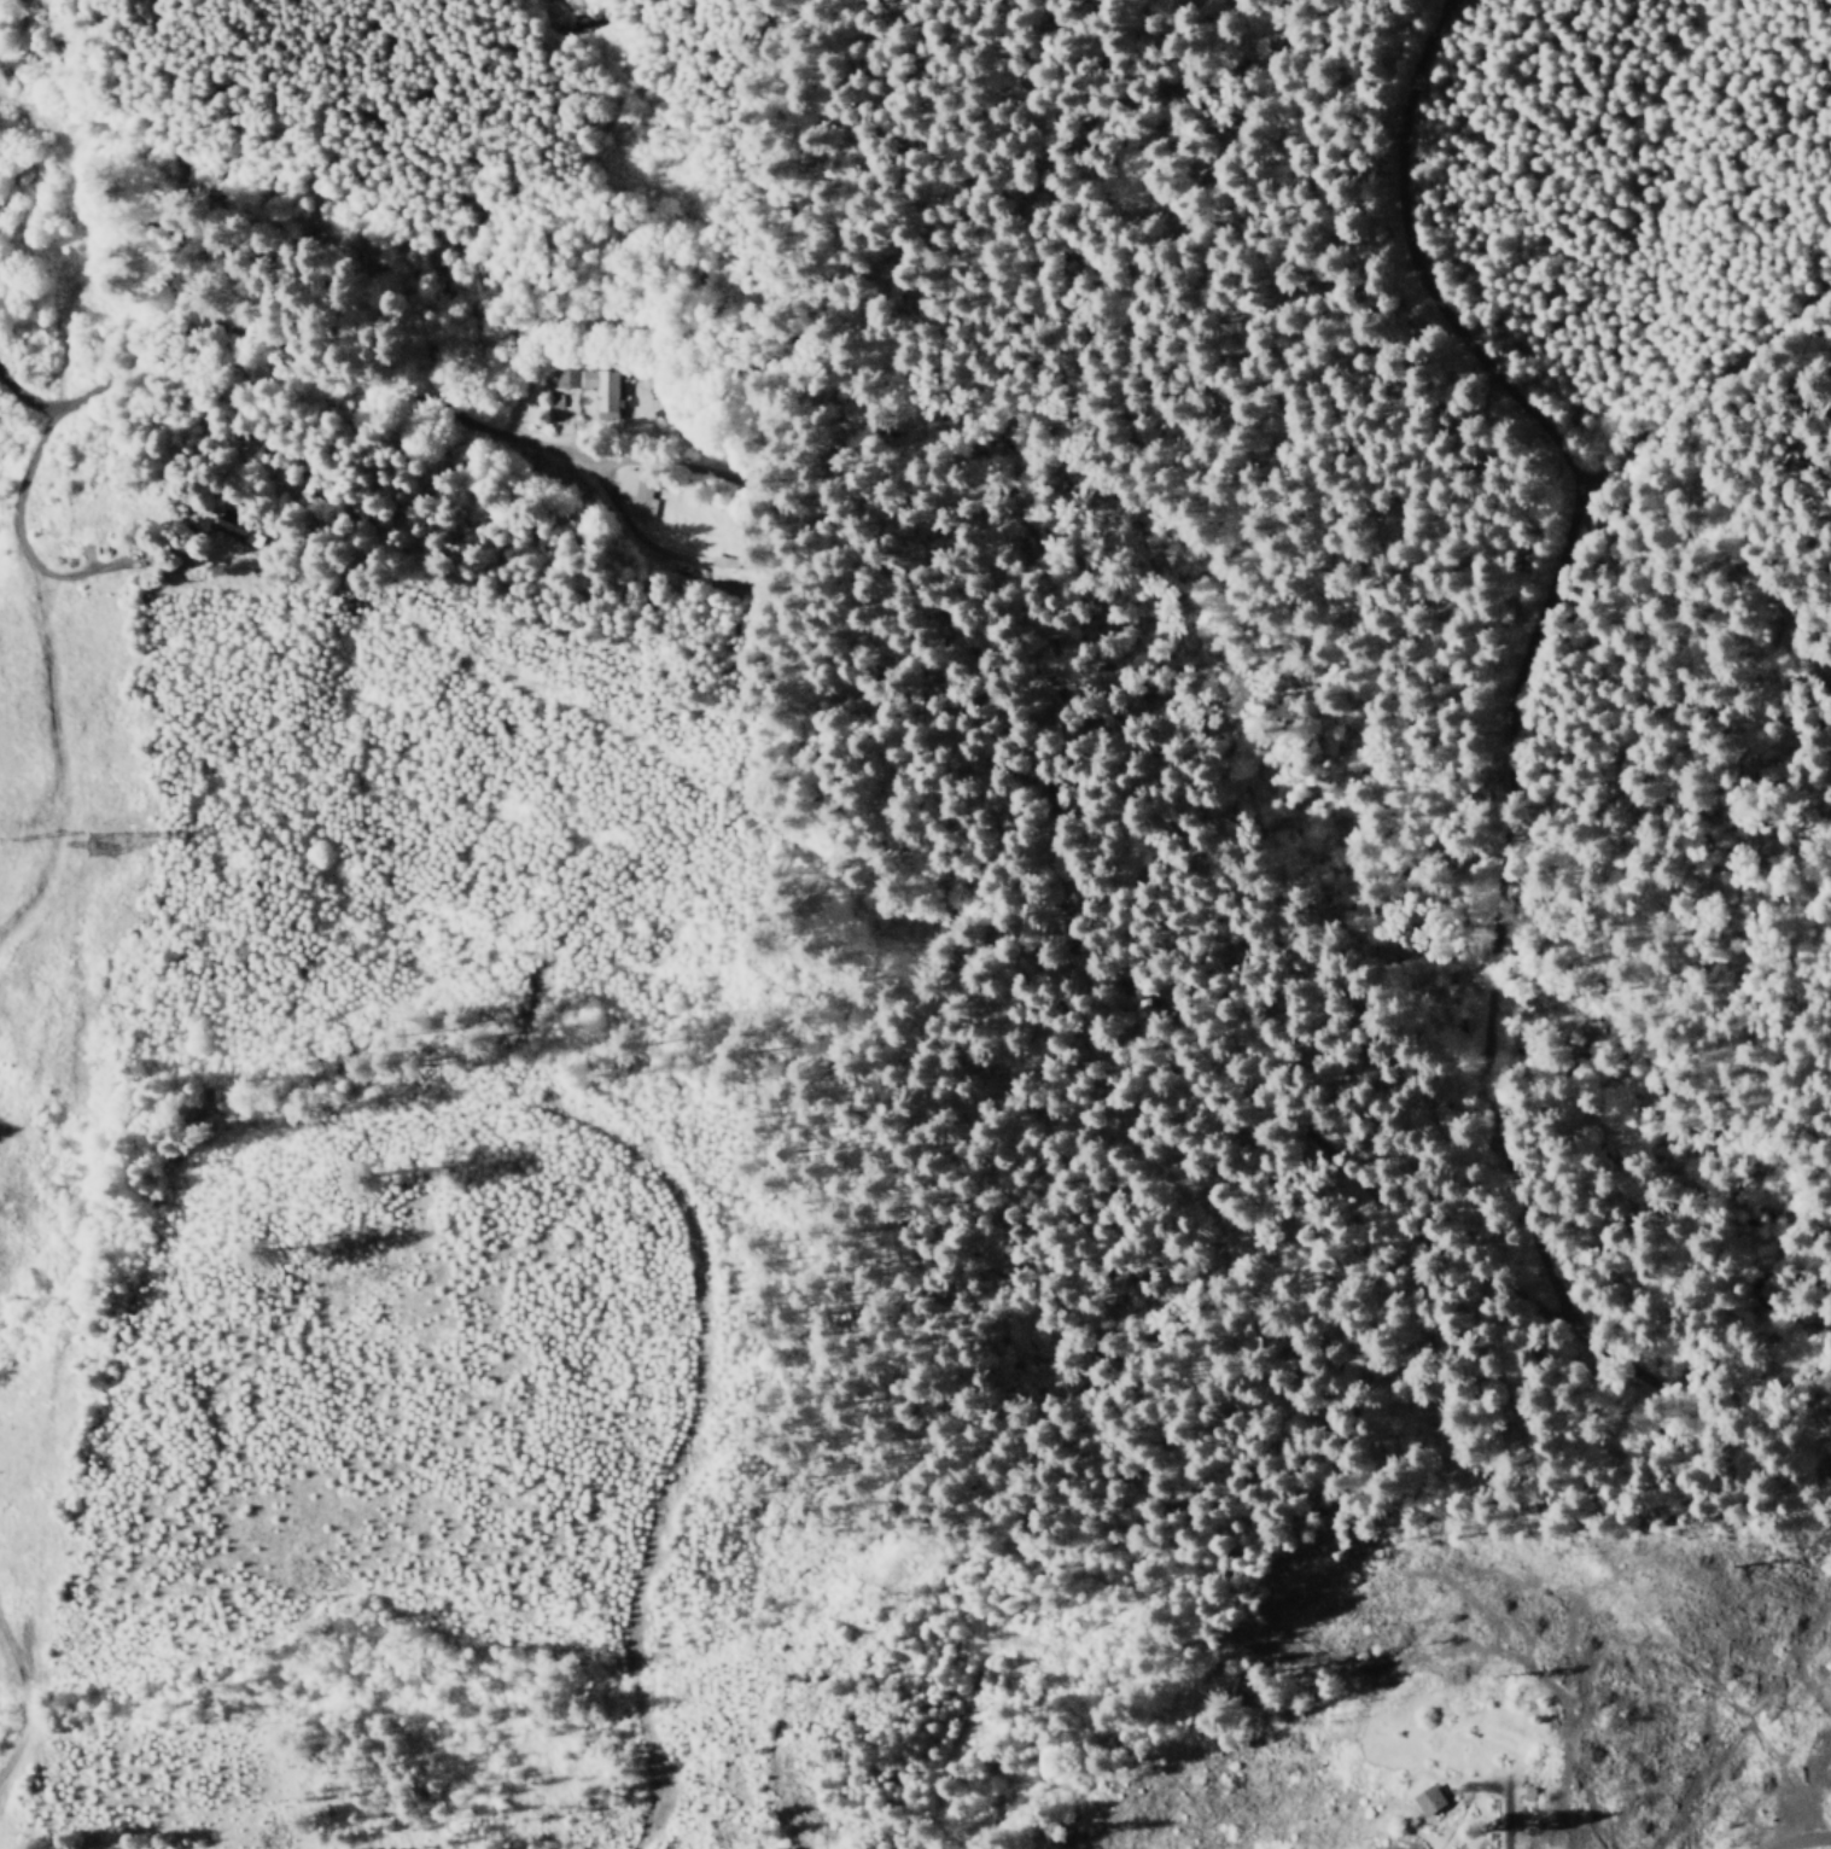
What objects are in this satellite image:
building: (585, 386)
building: (634, 490)
building: (233, 530)
building: (725, 568)
power tower: (92, 845)
road: (1019, 902)
building: (1427, 1800)

